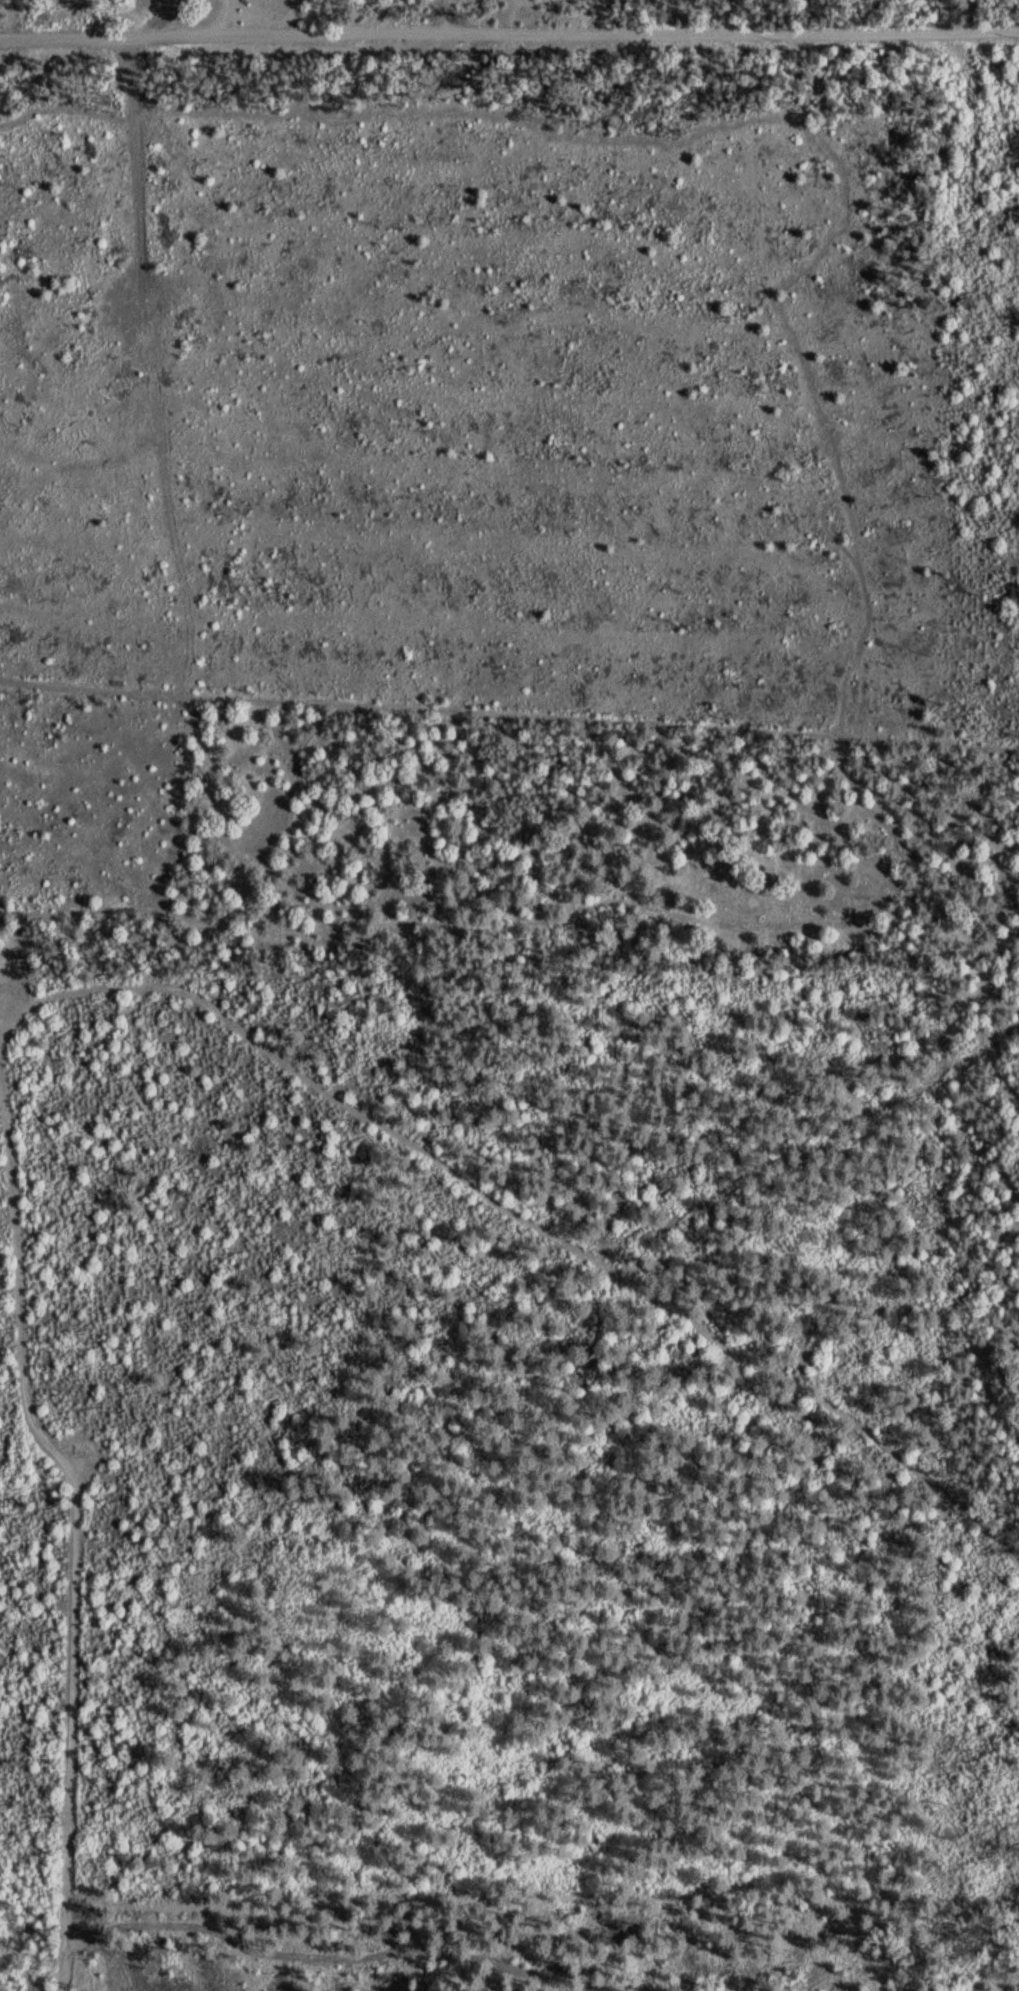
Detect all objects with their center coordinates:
road: (509, 33)
road: (509, 718)
road: (567, 964)
road: (76, 1529)

